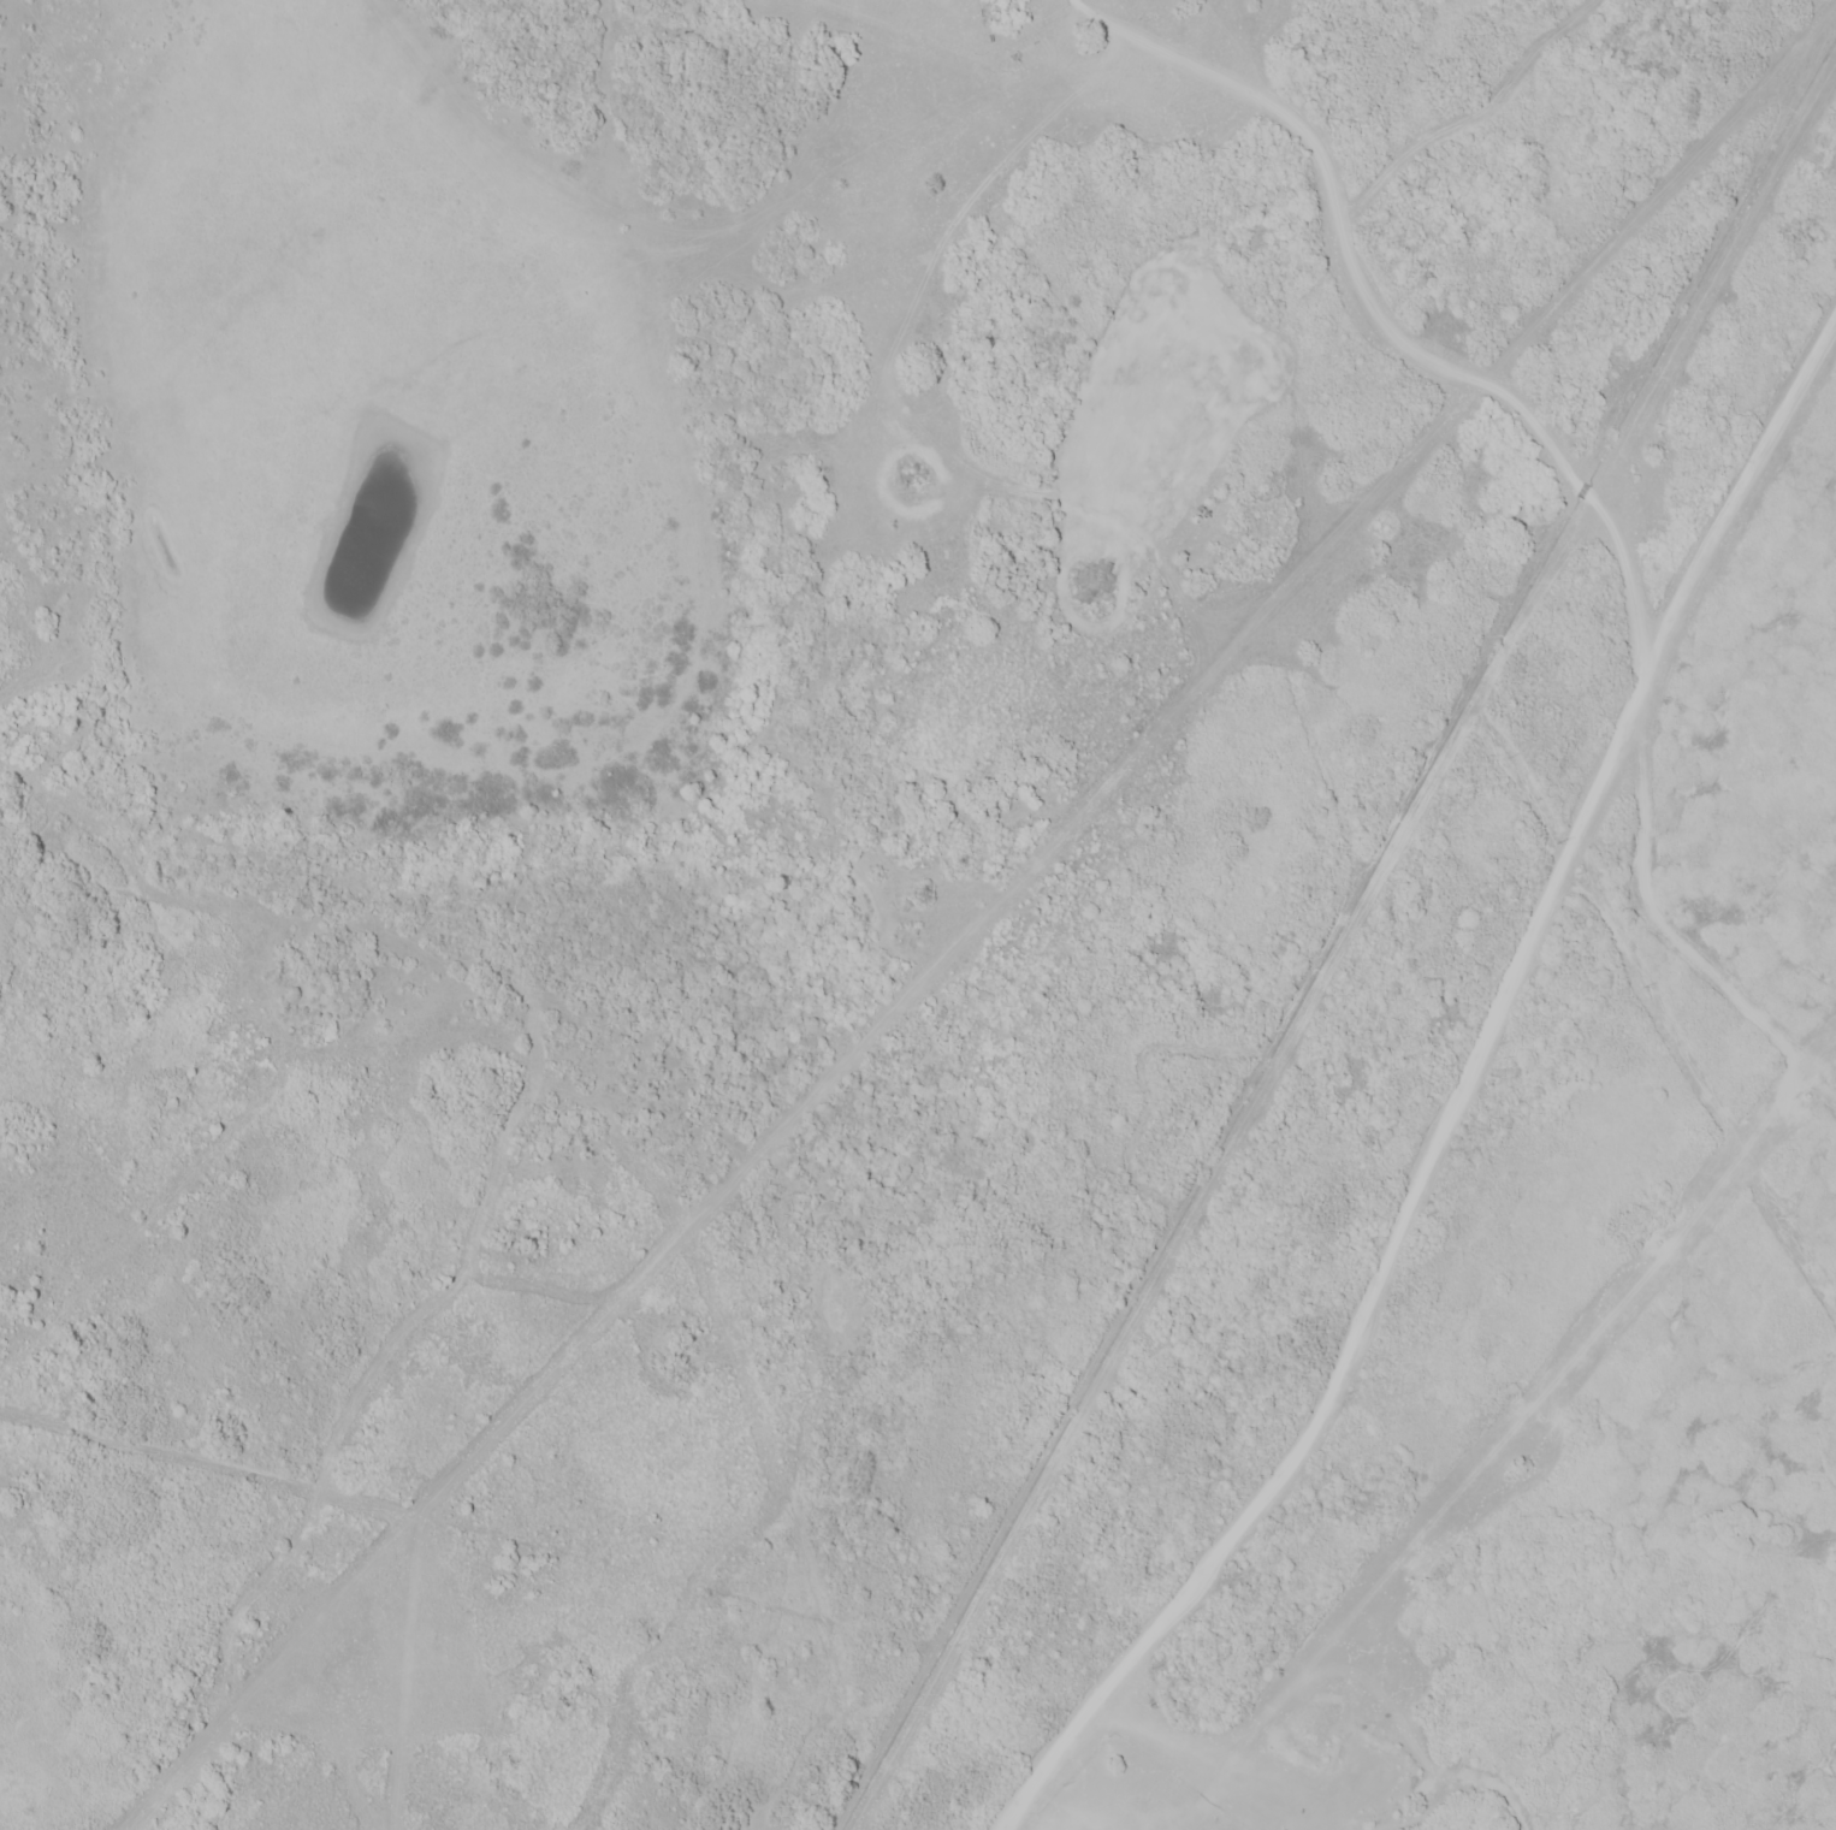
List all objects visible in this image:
road: (1053, 1785)

